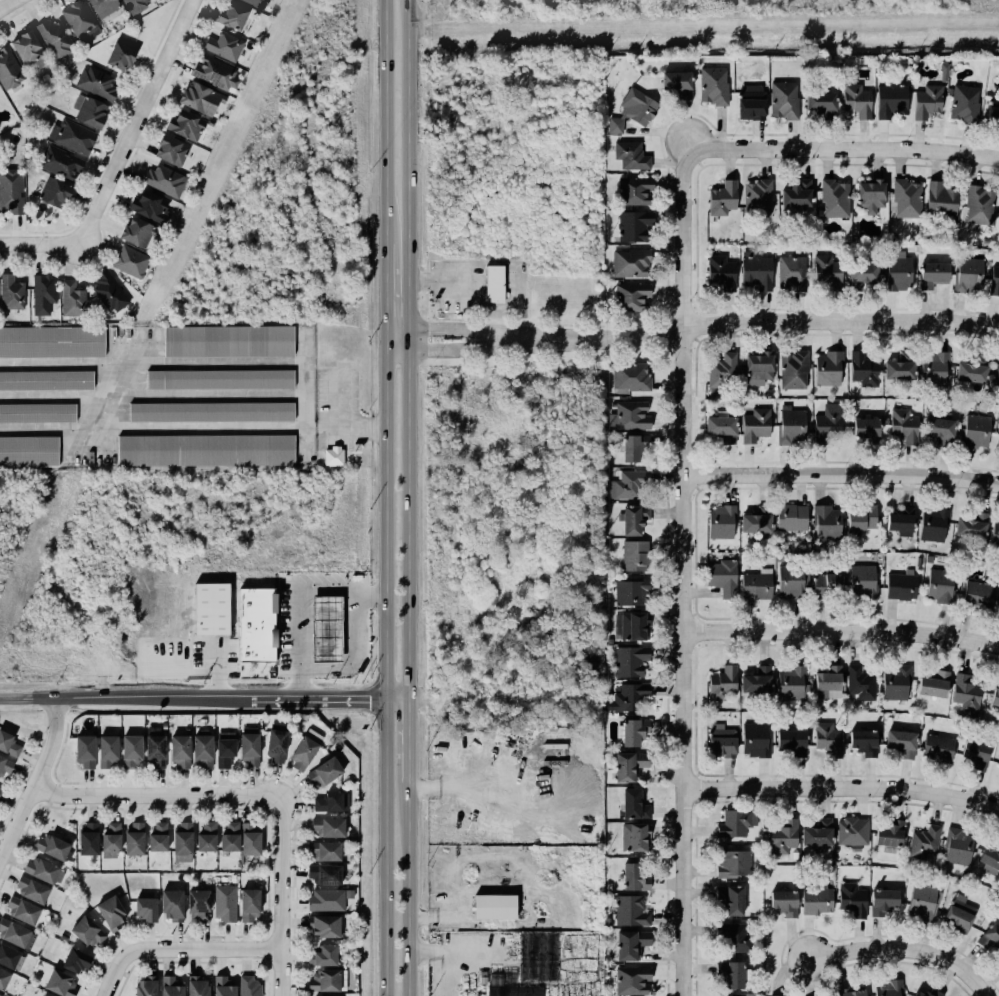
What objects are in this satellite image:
road: (177, 0)
road: (178, 0)
building: (255, 3)
building: (135, 5)
road: (10, 6)
building: (103, 7)
building: (232, 17)
building: (77, 18)
park: (157, 21)
road: (164, 29)
building: (56, 39)
building: (223, 46)
building: (27, 47)
building: (120, 57)
building: (9, 69)
building: (941, 72)
building: (216, 73)
building: (97, 83)
building: (674, 84)
building: (711, 87)
building: (200, 99)
building: (782, 101)
building: (855, 101)
building: (889, 101)
building: (817, 103)
building: (926, 103)
building: (748, 105)
building: (962, 105)
building: (630, 111)
building: (91, 113)
building: (991, 115)
road: (381, 122)
building: (184, 126)
road: (862, 135)
building: (73, 136)
road: (841, 150)
building: (170, 151)
building: (628, 156)
road: (119, 158)
building: (60, 162)
building: (165, 181)
building: (632, 191)
building: (10, 192)
building: (54, 192)
building: (794, 196)
building: (868, 196)
building: (755, 198)
building: (720, 199)
building: (832, 199)
building: (904, 199)
building: (939, 203)
building: (977, 206)
building: (147, 207)
building: (998, 213)
building: (632, 226)
building: (138, 233)
building: (130, 261)
building: (628, 263)
building: (896, 271)
building: (753, 273)
building: (825, 274)
building: (719, 275)
building: (789, 275)
building: (965, 275)
building: (858, 276)
building: (931, 276)
building: (993, 281)
building: (494, 284)
building: (107, 292)
building: (11, 293)
building: (43, 294)
road: (380, 294)
building: (629, 297)
building: (71, 299)
road: (689, 327)
building: (50, 341)
building: (226, 341)
road: (406, 347)
road: (151, 364)
building: (931, 366)
building: (897, 367)
building: (755, 368)
building: (826, 368)
building: (791, 370)
building: (862, 370)
building: (969, 370)
building: (720, 373)
building: (995, 373)
building: (628, 377)
building: (44, 380)
building: (218, 380)
building: (766, 392)
road: (303, 399)
road: (339, 401)
building: (209, 411)
building: (36, 413)
building: (629, 416)
building: (826, 421)
building: (901, 424)
building: (753, 425)
road: (151, 427)
road: (360, 427)
building: (863, 427)
building: (937, 427)
building: (788, 428)
building: (718, 429)
building: (974, 430)
building: (996, 442)
building: (630, 448)
building: (203, 450)
building: (27, 452)
building: (331, 457)
road: (841, 475)
building: (625, 484)
building: (789, 518)
building: (631, 519)
building: (860, 519)
building: (719, 521)
building: (898, 521)
building: (824, 523)
building: (752, 524)
building: (931, 524)
building: (969, 527)
building: (993, 534)
building: (633, 556)
building: (917, 564)
road: (682, 567)
building: (721, 578)
building: (788, 582)
building: (860, 582)
building: (754, 586)
building: (825, 586)
building: (899, 586)
building: (937, 586)
building: (628, 592)
road: (291, 596)
building: (976, 596)
building: (998, 603)
building: (211, 609)
building: (256, 625)
building: (631, 626)
gas station: (327, 630)
road: (841, 631)
building: (628, 661)
road: (381, 669)
building: (754, 681)
building: (825, 681)
building: (894, 681)
building: (789, 682)
building: (720, 683)
building: (858, 683)
building: (931, 685)
building: (963, 693)
road: (203, 696)
building: (627, 698)
building: (993, 699)
building: (631, 732)
building: (827, 739)
building: (754, 740)
building: (719, 741)
building: (276, 742)
building: (790, 742)
building: (861, 742)
building: (899, 743)
building: (9, 745)
road: (407, 745)
building: (155, 747)
building: (250, 747)
building: (936, 748)
building: (202, 749)
building: (225, 749)
building: (305, 749)
building: (108, 751)
building: (131, 751)
building: (180, 751)
building: (85, 752)
building: (974, 755)
building: (997, 761)
building: (4, 766)
building: (625, 766)
building: (324, 772)
road: (35, 779)
road: (841, 788)
building: (0, 789)
road: (156, 795)
building: (331, 803)
building: (631, 806)
building: (733, 824)
building: (328, 827)
building: (850, 831)
building: (816, 834)
building: (888, 834)
building: (207, 837)
building: (230, 837)
building: (781, 837)
building: (159, 838)
building: (633, 838)
building: (88, 839)
building: (134, 839)
building: (250, 839)
building: (111, 841)
building: (182, 843)
building: (922, 843)
building: (52, 846)
building: (956, 848)
building: (853, 849)
building: (323, 851)
building: (793, 856)
building: (989, 858)
building: (731, 864)
building: (42, 871)
building: (325, 875)
building: (631, 879)
building: (32, 890)
road: (281, 895)
road: (407, 896)
building: (326, 900)
building: (850, 900)
building: (814, 901)
building: (729, 902)
building: (880, 902)
building: (921, 902)
building: (225, 903)
building: (782, 903)
building: (172, 904)
building: (199, 904)
building: (249, 905)
building: (495, 907)
building: (146, 909)
building: (22, 911)
building: (628, 912)
building: (112, 913)
building: (957, 914)
building: (324, 927)
building: (88, 932)
building: (13, 933)
building: (734, 936)
building: (988, 937)
building: (627, 944)
road: (204, 949)
road: (446, 950)
road: (905, 950)
building: (323, 956)
building: (8, 957)
building: (76, 961)
building: (998, 964)
road: (113, 973)
building: (728, 976)
building: (3, 979)
building: (629, 980)
building: (325, 981)
building: (61, 984)
building: (198, 986)
building: (223, 986)
building: (250, 986)
building: (146, 987)
building: (171, 987)
building: (886, 988)
building: (514, 991)
building: (846, 993)
building: (927, 993)
building: (2, 994)
building: (44, 995)

